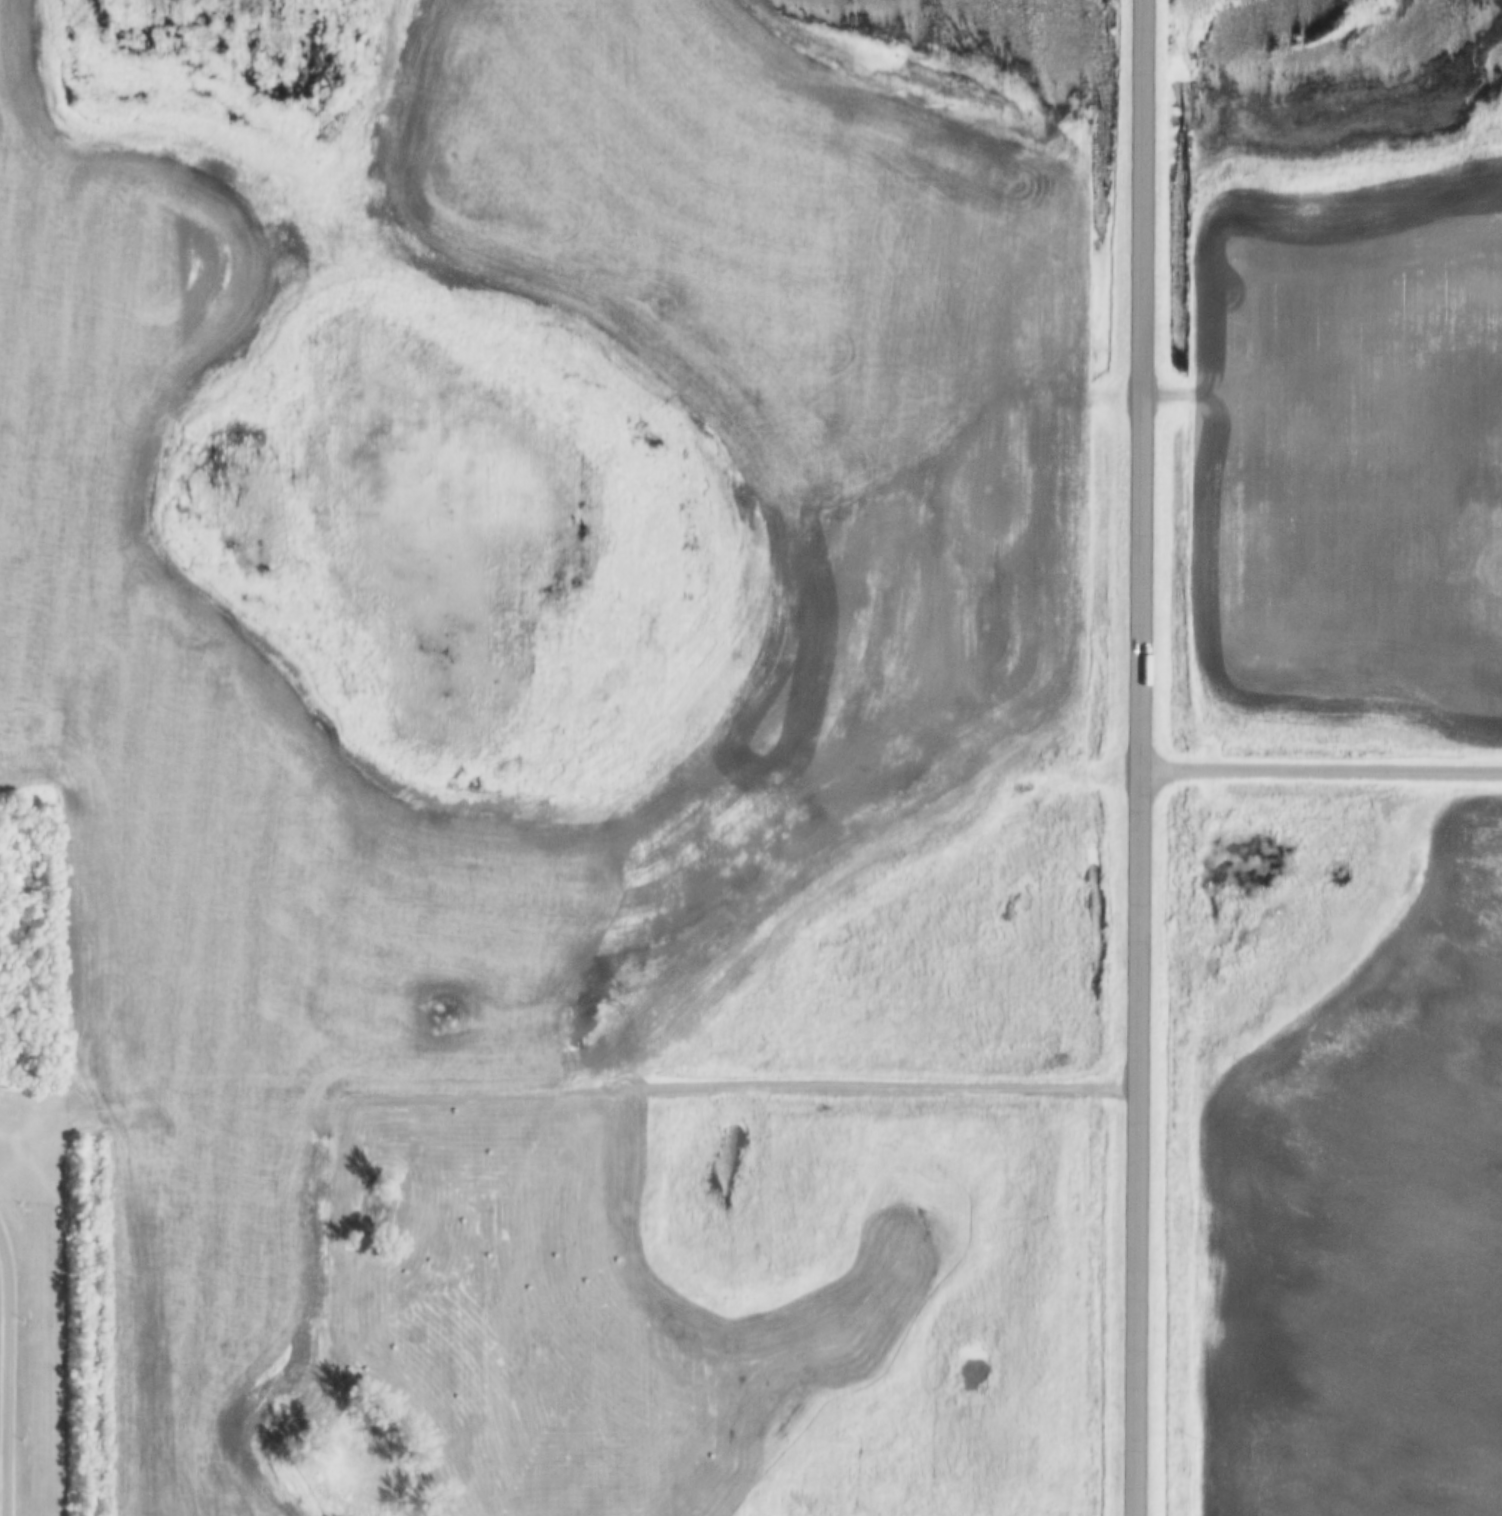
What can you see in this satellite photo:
road: (1138, 758)
road: (1320, 771)
road: (8, 1373)

